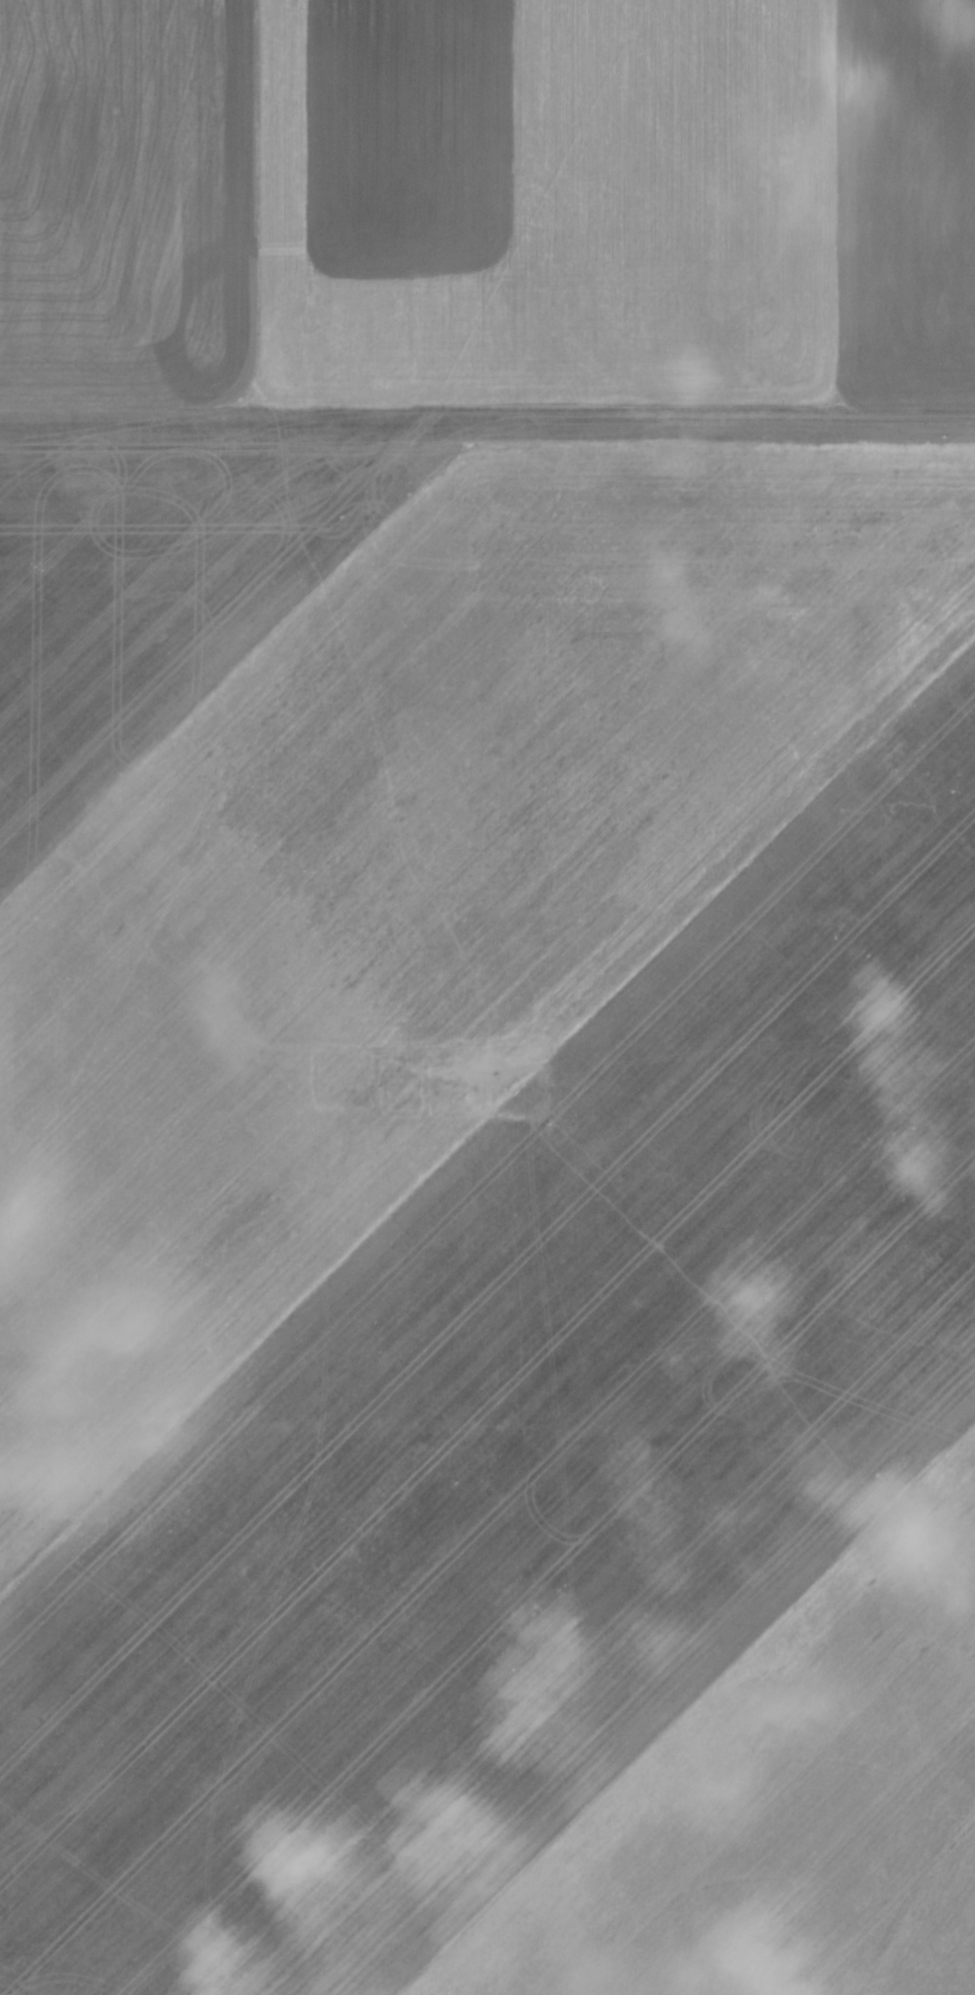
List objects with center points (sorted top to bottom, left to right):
crop: (487, 997)

